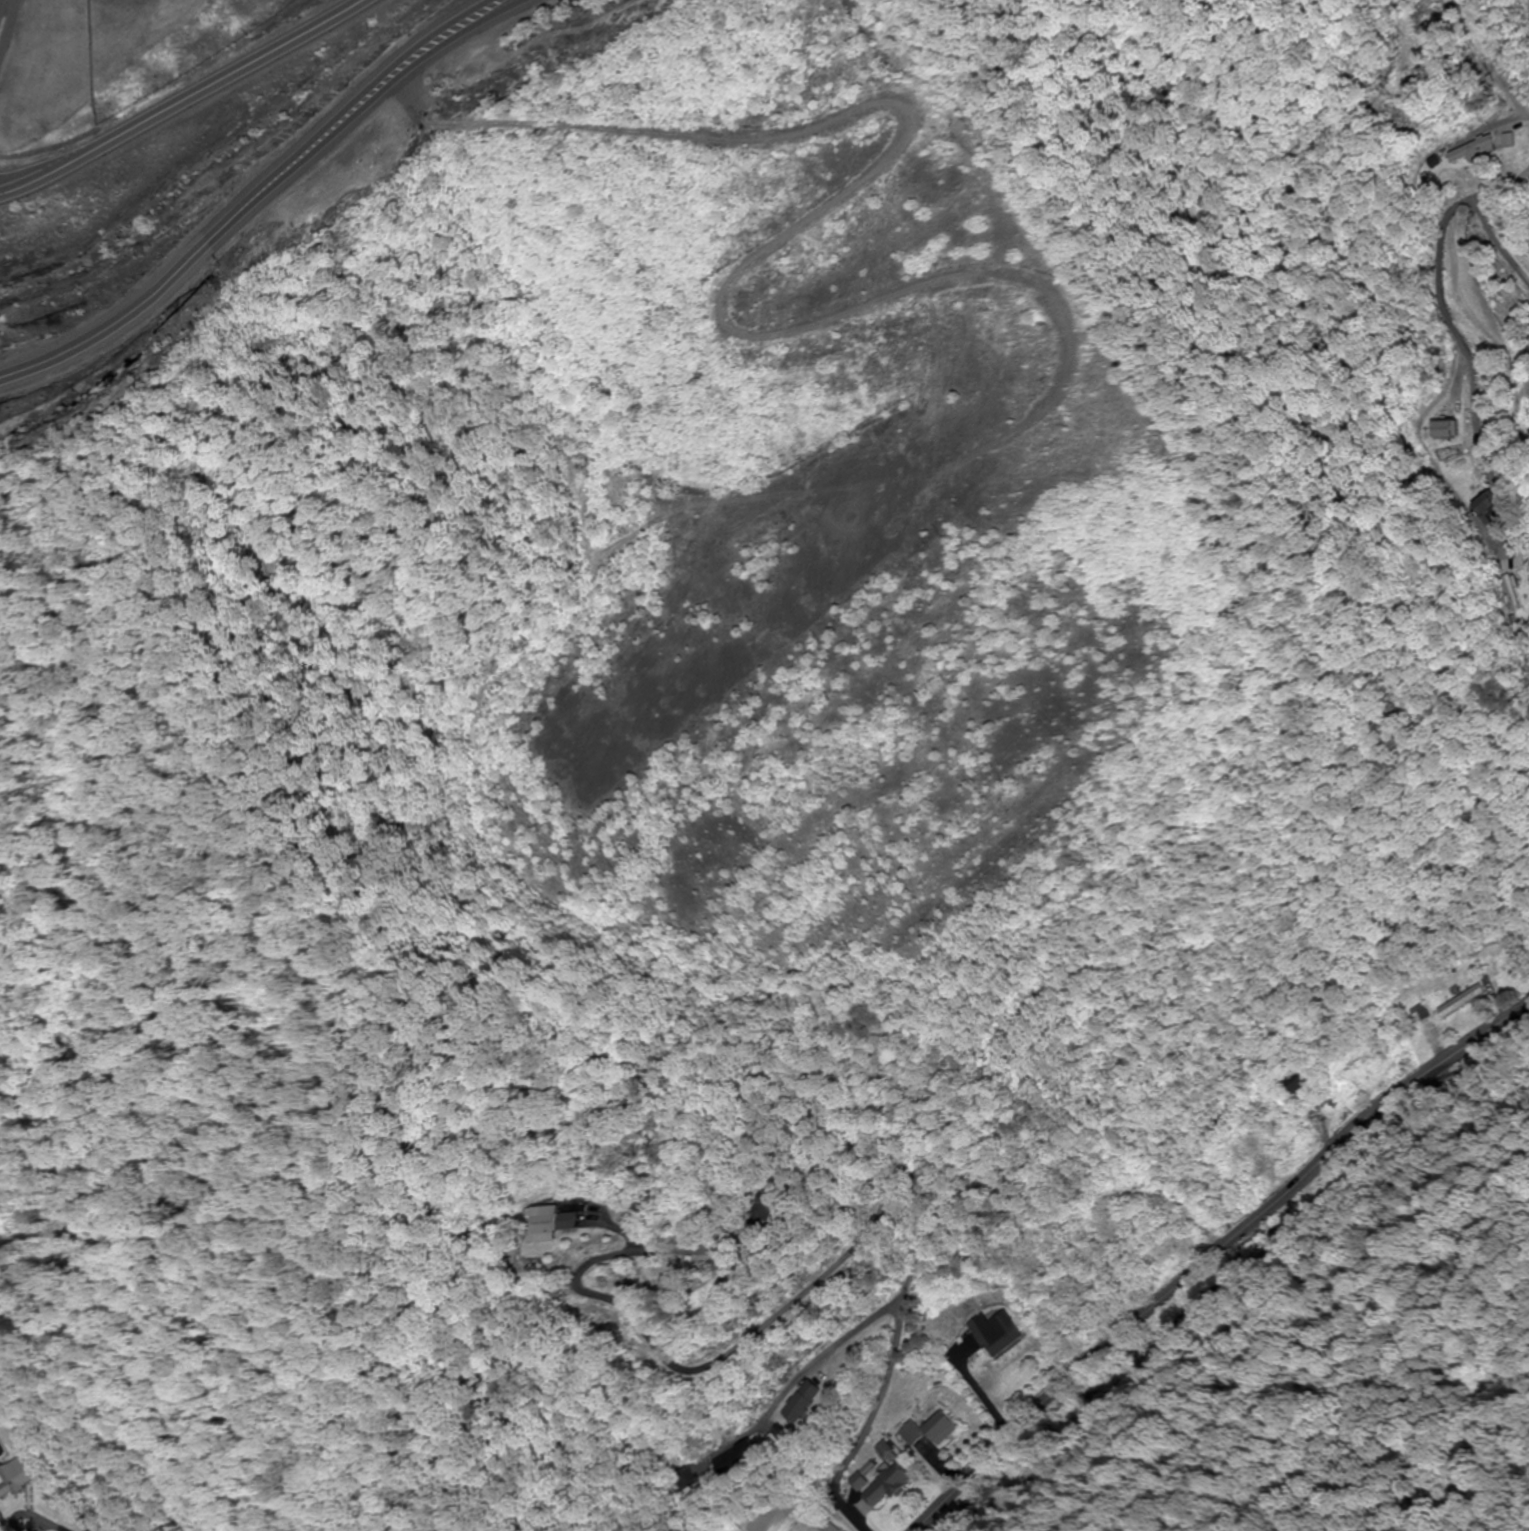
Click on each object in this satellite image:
road: (0, 0)
road: (1502, 76)
road: (178, 103)
building: (1472, 151)
road: (1499, 184)
road: (248, 187)
road: (1493, 247)
road: (1468, 354)
building: (1444, 430)
building: (1513, 592)
building: (1501, 961)
building: (1459, 1002)
building: (1294, 1081)
building: (763, 1211)
building: (545, 1225)
road: (1211, 1254)
road: (835, 1268)
building: (994, 1335)
building: (800, 1403)
building: (928, 1431)
building: (736, 1461)
building: (18, 1478)
building: (685, 1480)
building: (887, 1486)
building: (826, 1528)

